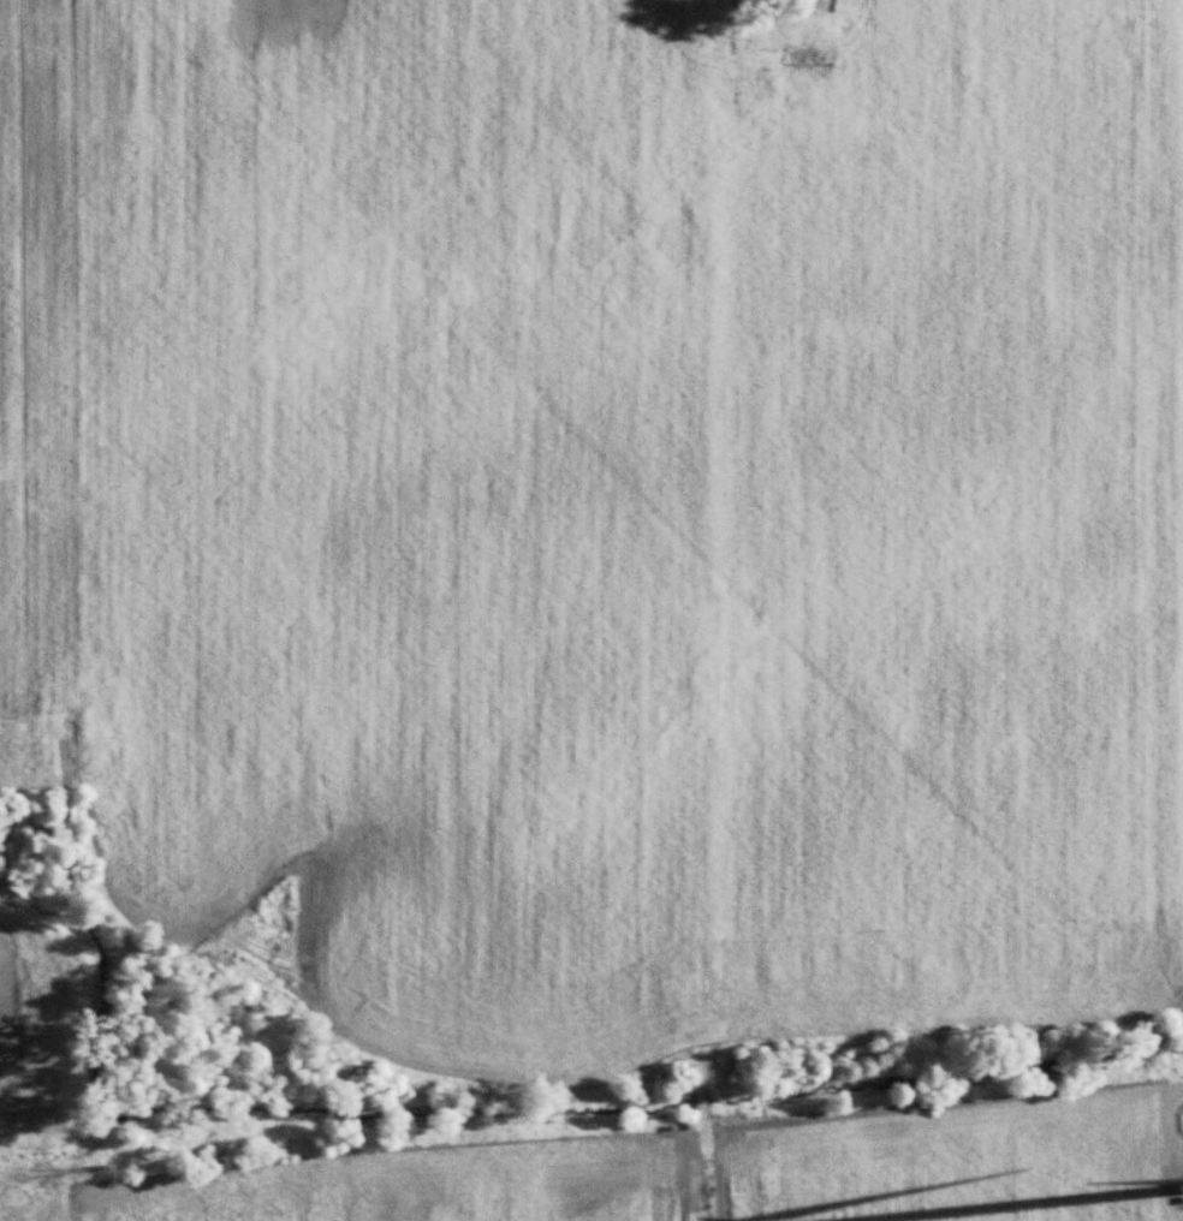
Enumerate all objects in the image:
wind turbine: (1173, 1133)

